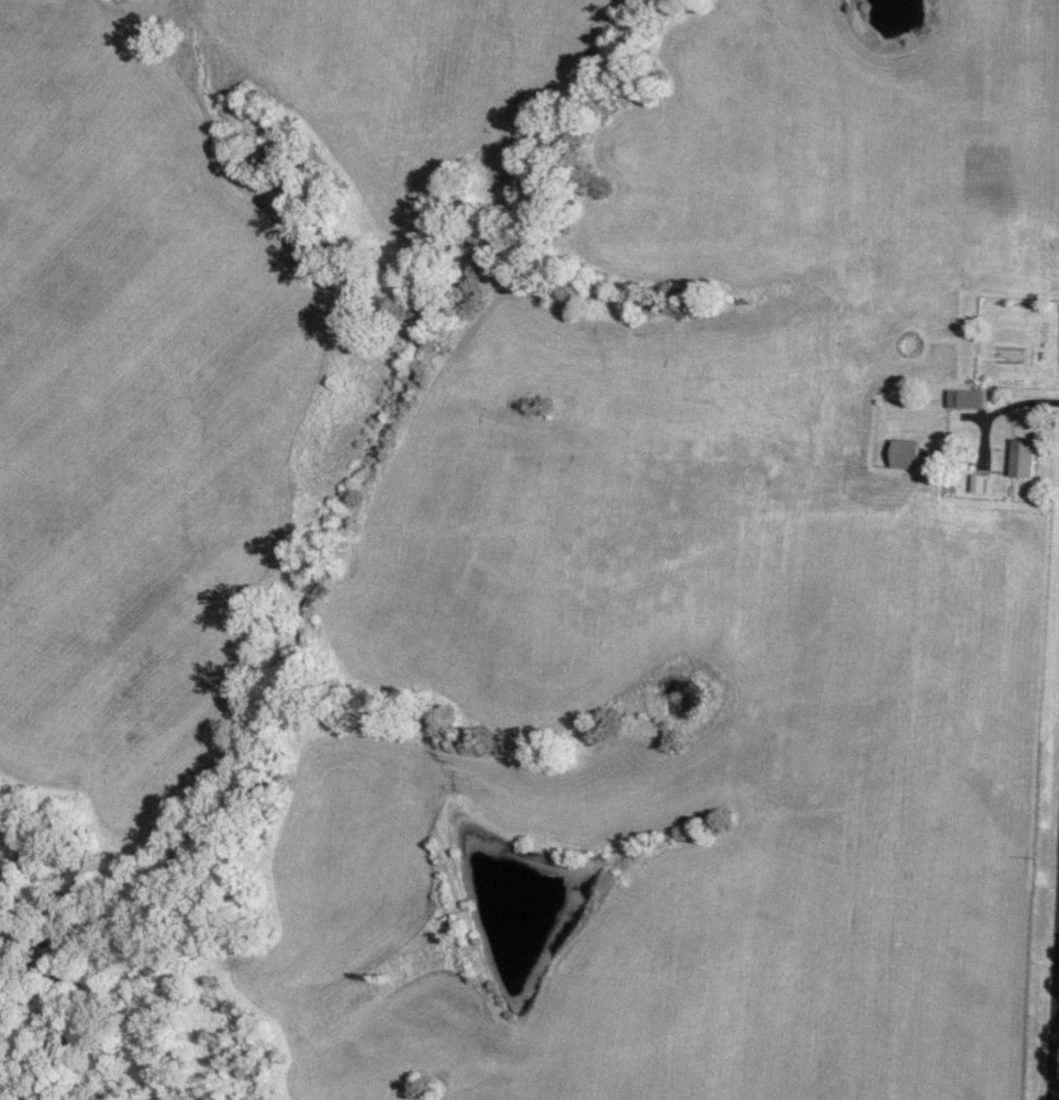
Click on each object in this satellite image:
building: (968, 401)
road: (990, 413)
building: (905, 456)
building: (1022, 460)
road: (1055, 1026)

